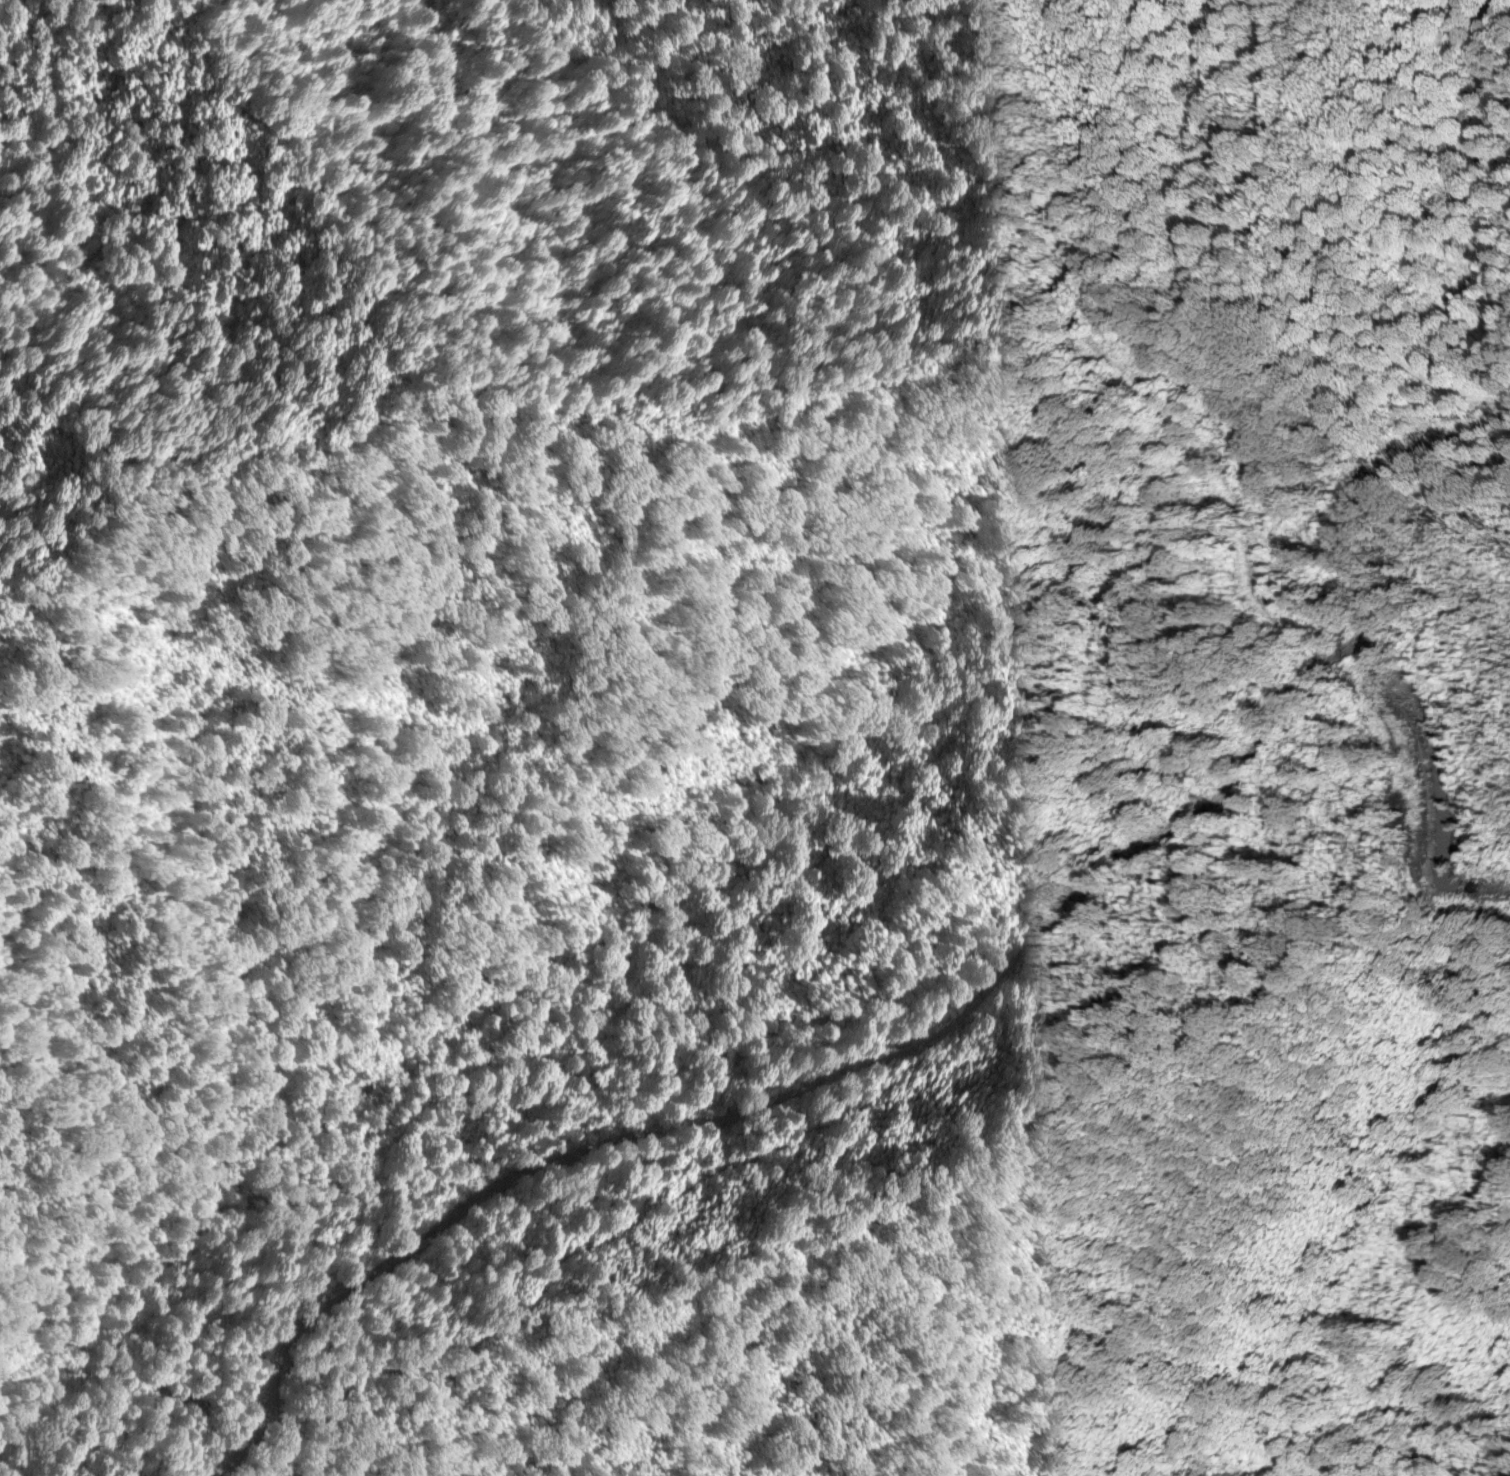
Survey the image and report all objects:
quarry: (1480, 728)

